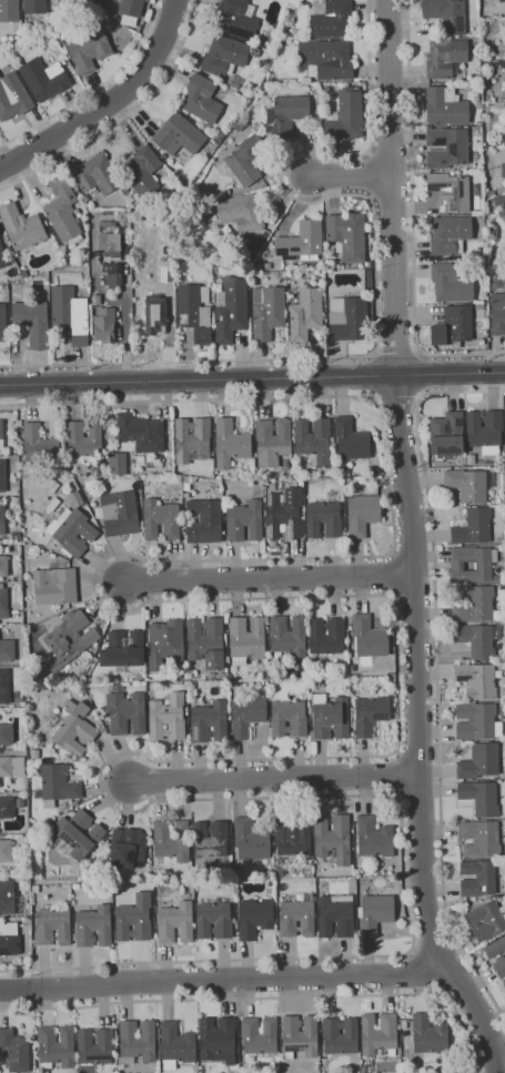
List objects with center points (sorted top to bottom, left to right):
building: (149, 0)
building: (494, 1)
building: (85, 4)
building: (34, 7)
building: (9, 11)
building: (130, 11)
building: (447, 14)
building: (331, 18)
building: (236, 19)
building: (90, 51)
building: (224, 55)
building: (446, 58)
building: (327, 60)
building: (271, 78)
building: (44, 79)
building: (289, 81)
road: (94, 89)
building: (13, 97)
building: (202, 99)
road: (109, 103)
building: (446, 107)
building: (286, 114)
building: (345, 115)
road: (122, 117)
building: (179, 135)
building: (446, 148)
building: (246, 160)
building: (503, 163)
building: (142, 171)
building: (97, 174)
road: (351, 176)
road: (392, 186)
building: (125, 191)
building: (451, 191)
building: (491, 193)
building: (131, 198)
building: (499, 200)
building: (142, 204)
building: (63, 210)
building: (241, 213)
building: (503, 215)
road: (412, 220)
building: (87, 221)
building: (22, 226)
building: (107, 226)
building: (492, 232)
building: (347, 235)
building: (450, 235)
building: (301, 241)
building: (110, 242)
building: (9, 252)
building: (2, 256)
building: (259, 267)
building: (168, 269)
building: (24, 274)
building: (113, 275)
road: (374, 281)
building: (451, 283)
building: (6, 287)
building: (231, 311)
building: (195, 312)
building: (267, 312)
building: (497, 313)
building: (70, 314)
building: (305, 314)
building: (154, 315)
building: (347, 318)
building: (33, 322)
building: (2, 323)
building: (104, 325)
building: (453, 326)
road: (125, 328)
road: (396, 355)
road: (252, 378)
road: (396, 394)
building: (504, 414)
building: (485, 431)
building: (140, 434)
building: (446, 434)
building: (1, 435)
building: (84, 439)
building: (193, 439)
building: (273, 441)
building: (314, 441)
building: (351, 441)
building: (231, 443)
building: (40, 444)
building: (114, 457)
building: (471, 459)
building: (149, 460)
building: (501, 468)
building: (374, 472)
building: (2, 476)
building: (189, 479)
building: (469, 484)
building: (75, 498)
building: (53, 504)
building: (120, 513)
building: (284, 514)
building: (363, 514)
building: (2, 519)
building: (161, 519)
building: (323, 519)
building: (245, 520)
building: (204, 522)
building: (8, 525)
building: (473, 527)
building: (72, 530)
building: (17, 536)
building: (3, 565)
building: (484, 565)
building: (498, 577)
road: (273, 579)
building: (54, 586)
building: (3, 603)
building: (475, 604)
building: (16, 614)
building: (287, 635)
building: (326, 636)
building: (368, 637)
building: (70, 639)
building: (246, 639)
building: (478, 639)
building: (208, 641)
building: (165, 642)
building: (7, 650)
building: (123, 650)
building: (229, 654)
building: (266, 661)
road: (436, 670)
building: (38, 675)
building: (218, 676)
building: (185, 678)
building: (477, 679)
building: (4, 686)
building: (347, 687)
road: (400, 689)
building: (127, 711)
building: (503, 712)
building: (371, 713)
building: (246, 716)
building: (168, 717)
building: (330, 717)
building: (289, 718)
building: (210, 721)
building: (477, 721)
building: (74, 728)
road: (420, 731)
building: (6, 733)
building: (314, 747)
building: (34, 753)
building: (479, 761)
building: (12, 766)
road: (279, 777)
building: (58, 783)
building: (481, 798)
building: (7, 807)
building: (78, 832)
building: (293, 836)
building: (333, 837)
building: (375, 838)
building: (481, 838)
building: (210, 839)
building: (172, 840)
building: (251, 840)
building: (128, 848)
building: (6, 850)
building: (478, 879)
building: (36, 889)
building: (236, 891)
building: (7, 897)
building: (375, 913)
building: (335, 914)
building: (255, 918)
building: (296, 918)
building: (134, 919)
building: (214, 920)
building: (486, 920)
building: (176, 922)
building: (52, 927)
building: (94, 927)
building: (10, 939)
building: (495, 948)
building: (499, 965)
road: (416, 972)
road: (225, 979)
building: (504, 982)
road: (274, 999)
building: (404, 1023)
building: (400, 1026)
building: (378, 1033)
building: (115, 1034)
building: (259, 1035)
building: (341, 1035)
building: (428, 1035)
building: (300, 1036)
building: (219, 1040)
building: (138, 1041)
building: (176, 1045)
building: (57, 1046)
building: (97, 1047)
building: (16, 1050)
building: (357, 1070)
building: (365, 1070)

